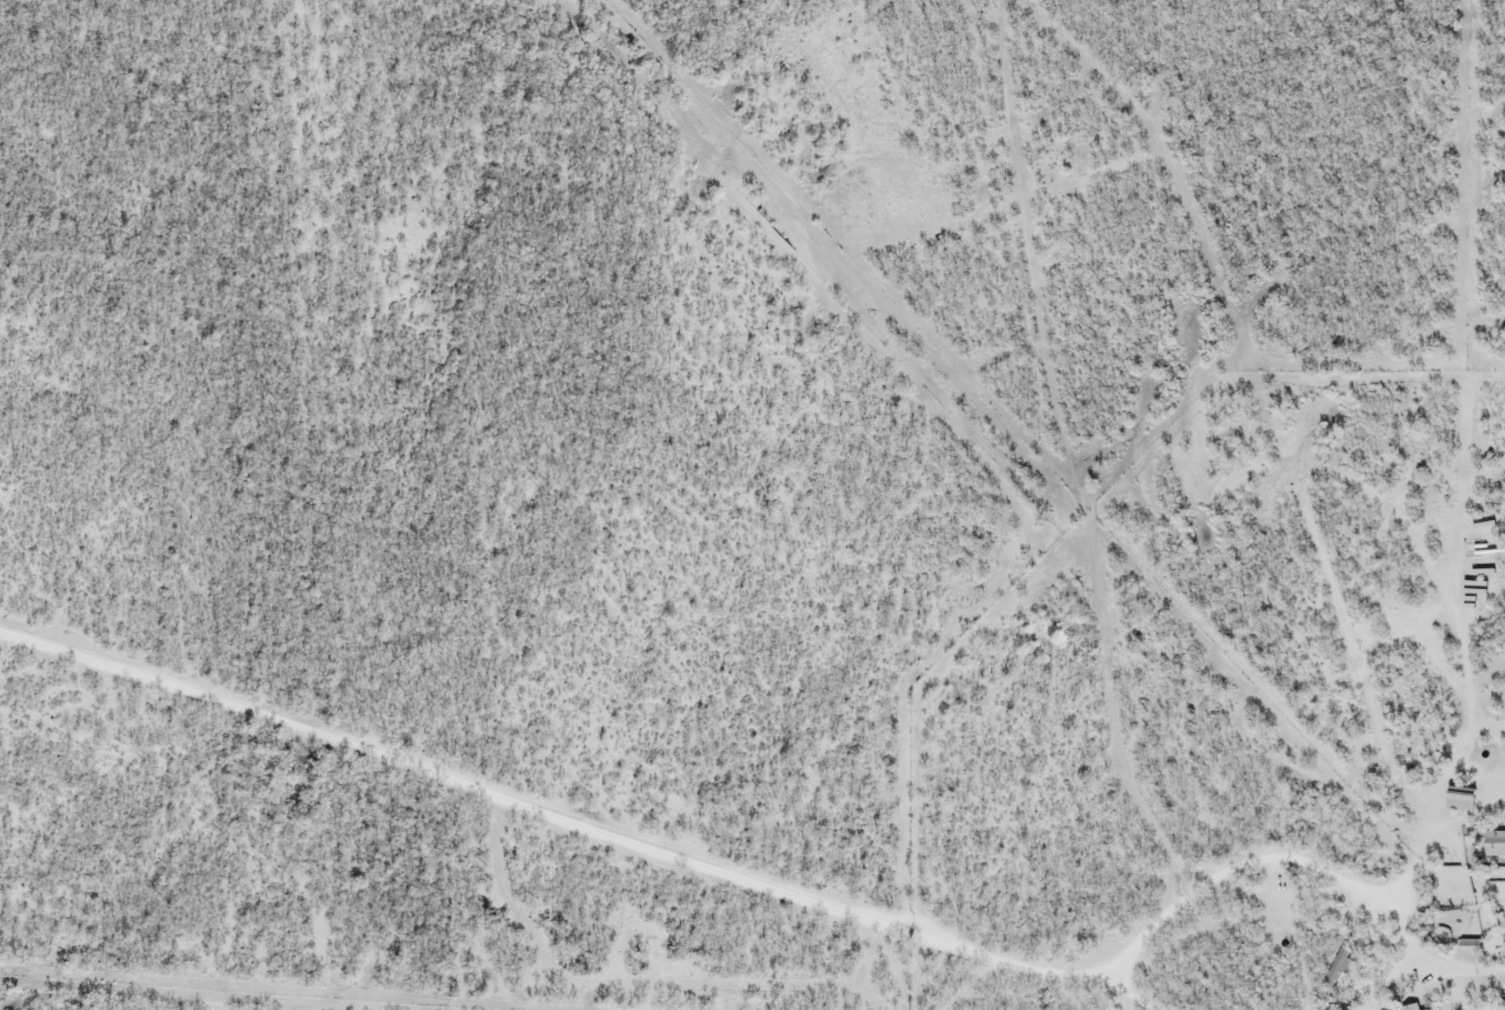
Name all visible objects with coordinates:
building: (1496, 658)
building: (1494, 841)
road: (712, 869)
building: (1337, 965)
building: (1410, 1006)

